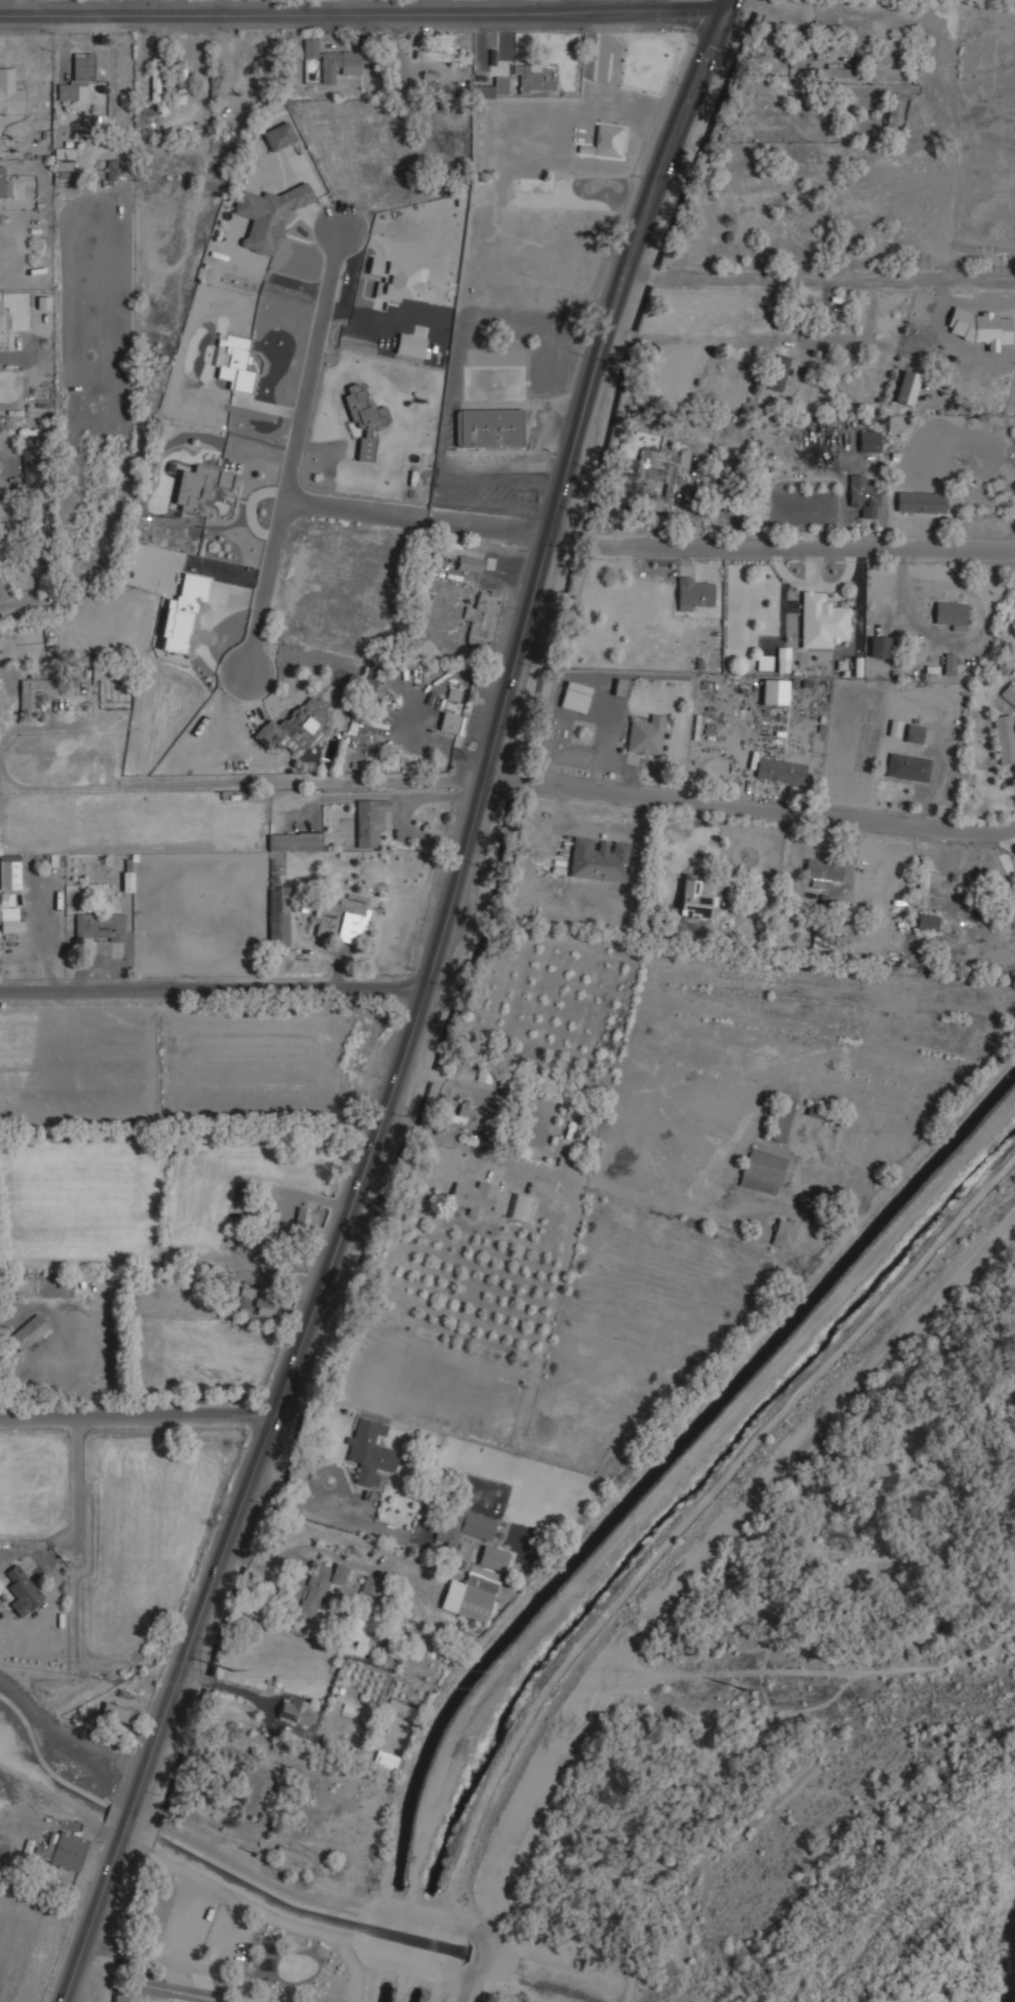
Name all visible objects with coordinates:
road: (361, 6)
road: (31, 7)
road: (764, 7)
road: (363, 12)
traffic signals: (703, 12)
building: (432, 55)
building: (331, 60)
building: (835, 72)
building: (77, 77)
building: (534, 77)
building: (155, 79)
building: (216, 79)
building: (180, 80)
building: (490, 88)
building: (8, 90)
building: (892, 114)
building: (279, 136)
building: (607, 140)
building: (64, 159)
building: (115, 168)
building: (4, 185)
building: (267, 215)
building: (395, 280)
road: (820, 280)
road: (825, 294)
road: (972, 304)
building: (980, 327)
building: (2, 329)
road: (944, 332)
road: (762, 340)
building: (410, 345)
road: (802, 356)
building: (779, 371)
building: (364, 419)
building: (488, 427)
building: (869, 441)
road: (293, 452)
building: (27, 462)
building: (655, 468)
building: (201, 487)
building: (863, 495)
building: (920, 501)
road: (416, 522)
road: (782, 551)
building: (469, 563)
building: (693, 593)
building: (951, 614)
building: (185, 617)
building: (483, 621)
building: (822, 621)
building: (878, 646)
building: (948, 663)
building: (783, 665)
building: (370, 680)
building: (621, 687)
building: (35, 692)
building: (775, 692)
building: (1009, 693)
building: (575, 696)
building: (442, 720)
building: (295, 725)
building: (913, 733)
building: (646, 735)
building: (1005, 737)
building: (907, 766)
building: (780, 770)
road: (751, 810)
building: (368, 823)
building: (294, 840)
building: (599, 859)
building: (10, 871)
building: (823, 872)
building: (924, 881)
building: (128, 882)
building: (693, 900)
road: (450, 904)
building: (278, 915)
building: (341, 916)
building: (927, 922)
building: (11, 925)
building: (99, 926)
building: (277, 966)
road: (213, 991)
building: (470, 1116)
building: (780, 1122)
road: (439, 1135)
building: (762, 1171)
building: (474, 1197)
building: (522, 1207)
building: (305, 1218)
building: (266, 1222)
building: (785, 1232)
building: (265, 1306)
building: (28, 1332)
road: (136, 1416)
building: (370, 1450)
road: (84, 1486)
building: (493, 1557)
building: (323, 1586)
building: (22, 1591)
building: (471, 1594)
building: (359, 1630)
power tower: (232, 1671)
power tower: (746, 1691)
building: (401, 1707)
building: (295, 1711)
building: (115, 1712)
building: (385, 1760)
building: (254, 1791)
road: (128, 1820)
building: (291, 1862)
road: (92, 1921)
park: (232, 1948)

